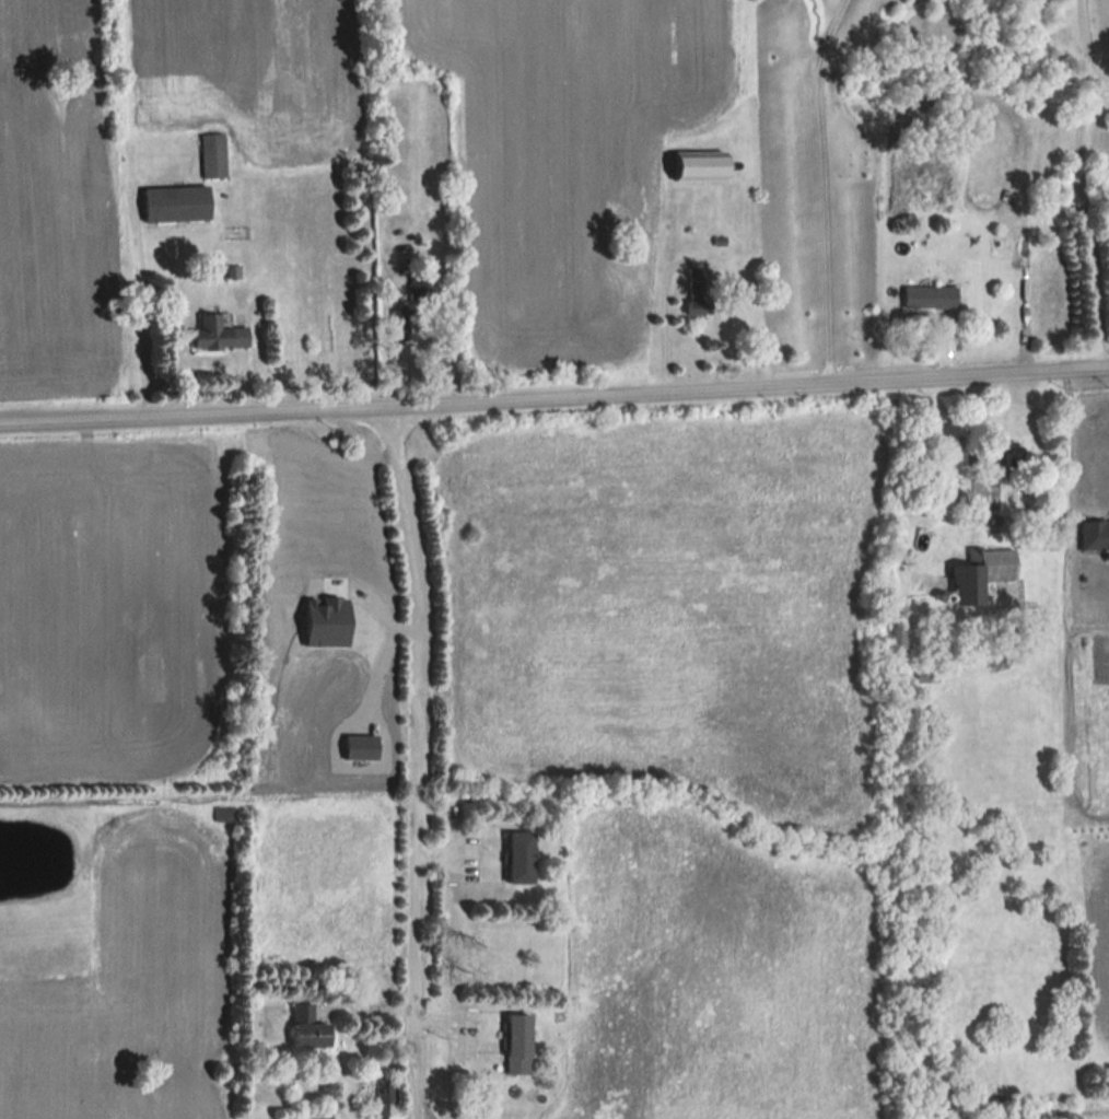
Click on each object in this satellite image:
crop: (247, 71)
building: (211, 156)
crop: (563, 156)
building: (696, 171)
road: (1081, 188)
road: (828, 190)
crop: (55, 201)
building: (173, 205)
road: (687, 258)
building: (927, 299)
building: (693, 303)
road: (139, 315)
building: (217, 336)
road: (554, 403)
building: (1005, 454)
building: (1044, 544)
building: (985, 571)
crop: (668, 601)
crop: (108, 602)
building: (926, 674)
crop: (322, 711)
road: (409, 764)
building: (221, 814)
building: (516, 856)
crop: (1099, 935)
crop: (723, 978)
crop: (127, 993)
building: (305, 1027)
building: (514, 1044)
building: (381, 1096)
building: (311, 1116)

